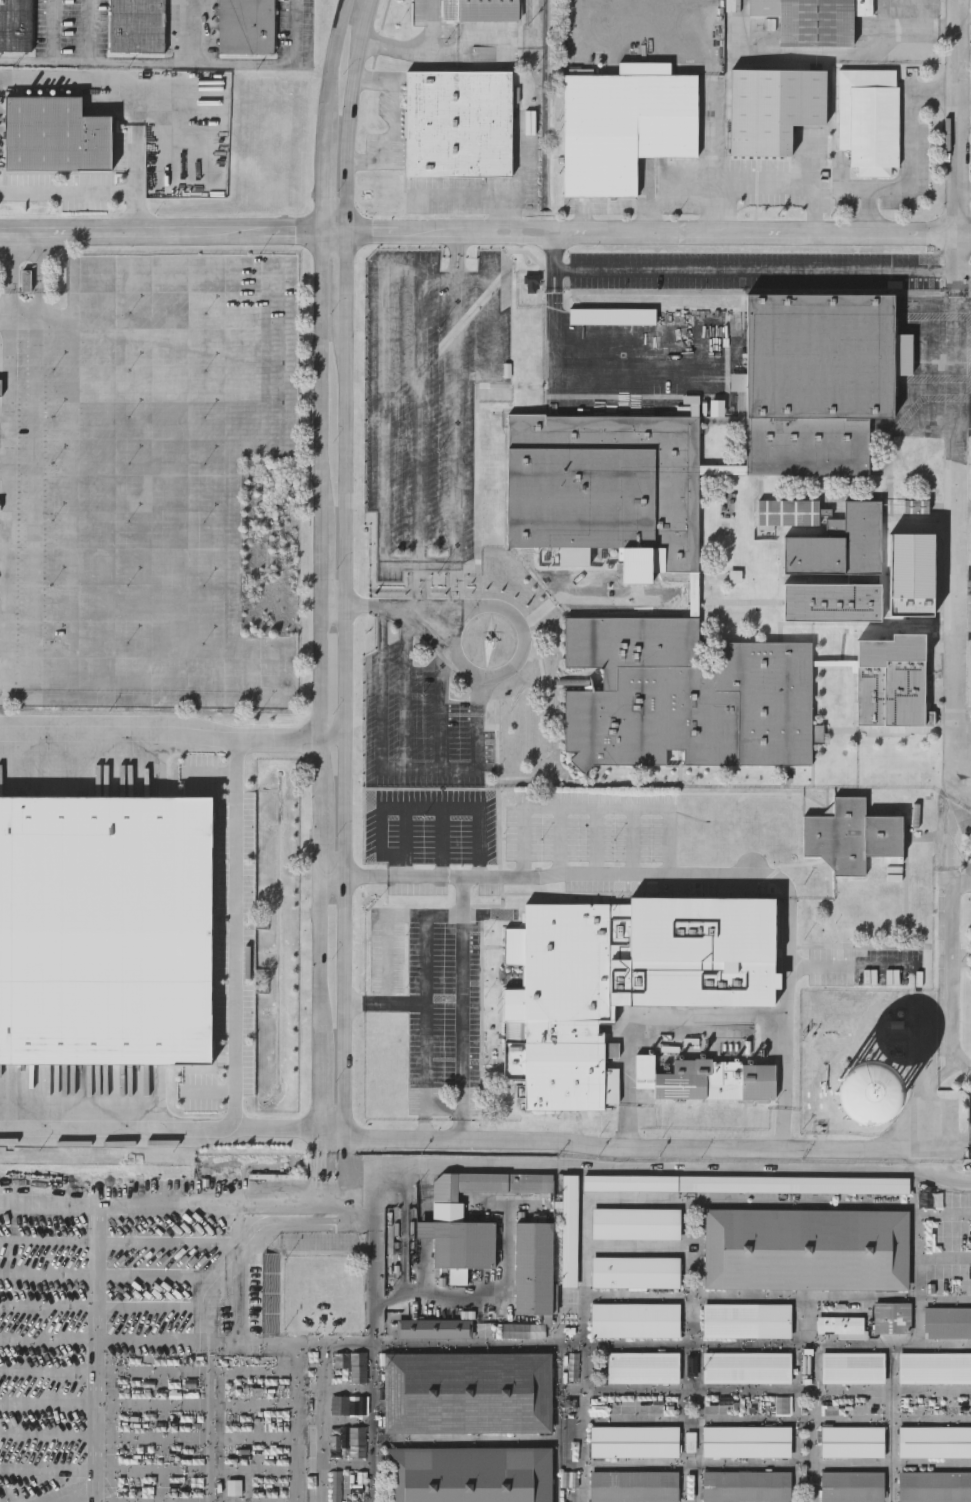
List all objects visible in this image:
building: (480, 9)
road: (882, 14)
building: (813, 19)
building: (15, 25)
building: (137, 25)
building: (245, 25)
road: (431, 26)
road: (189, 30)
road: (922, 34)
building: (73, 43)
road: (390, 48)
road: (24, 57)
road: (69, 58)
road: (219, 61)
road: (966, 102)
building: (772, 108)
road: (962, 116)
building: (868, 117)
road: (392, 119)
building: (458, 122)
building: (624, 126)
building: (56, 132)
road: (912, 156)
road: (522, 163)
road: (773, 185)
road: (86, 192)
road: (485, 192)
road: (674, 192)
road: (485, 231)
road: (459, 255)
road: (200, 258)
road: (962, 261)
parking lot: (755, 271)
road: (763, 271)
road: (12, 276)
road: (40, 276)
road: (440, 279)
building: (534, 283)
building: (614, 317)
road: (12, 320)
road: (109, 321)
road: (494, 327)
building: (820, 357)
road: (566, 366)
building: (0, 384)
parking lot: (431, 403)
road: (385, 429)
building: (808, 447)
road: (724, 468)
building: (607, 483)
road: (7, 507)
road: (36, 507)
road: (72, 508)
road: (109, 508)
road: (146, 508)
building: (789, 514)
building: (840, 542)
road: (958, 584)
road: (460, 585)
road: (422, 586)
road: (695, 594)
building: (830, 600)
road: (399, 607)
road: (197, 608)
road: (240, 638)
road: (458, 653)
road: (835, 662)
building: (894, 680)
road: (409, 688)
road: (444, 688)
building: (684, 694)
road: (268, 696)
flagpole: (514, 697)
flagpole: (513, 703)
flagpole: (511, 710)
parking lot: (423, 713)
road: (172, 732)
road: (398, 769)
road: (501, 774)
road: (429, 809)
parking lot: (430, 826)
parking lot: (594, 827)
building: (851, 834)
road: (405, 840)
road: (443, 841)
road: (596, 871)
road: (357, 873)
road: (962, 878)
road: (463, 894)
road: (389, 921)
road: (236, 932)
building: (146, 953)
road: (853, 966)
parking lot: (869, 967)
road: (954, 969)
building: (620, 980)
parking lot: (435, 1000)
road: (789, 1001)
road: (404, 1002)
road: (426, 1011)
road: (464, 1011)
road: (668, 1022)
building: (9, 1056)
road: (484, 1059)
road: (962, 1067)
building: (703, 1078)
building: (865, 1093)
water tower: (865, 1093)
road: (446, 1109)
road: (630, 1127)
road: (166, 1129)
road: (787, 1130)
road: (333, 1132)
road: (950, 1145)
road: (630, 1148)
road: (650, 1167)
road: (942, 1175)
building: (744, 1183)
road: (354, 1194)
road: (597, 1196)
road: (317, 1200)
road: (117, 1207)
road: (943, 1211)
road: (298, 1223)
building: (635, 1223)
building: (453, 1229)
building: (568, 1230)
building: (805, 1249)
road: (943, 1256)
building: (531, 1268)
building: (634, 1272)
road: (915, 1277)
road: (750, 1295)
road: (693, 1298)
building: (891, 1317)
building: (633, 1320)
building: (745, 1320)
building: (947, 1321)
building: (839, 1324)
building: (433, 1328)
parking lot: (123, 1336)
road: (342, 1340)
road: (204, 1348)
road: (100, 1355)
building: (745, 1366)
building: (641, 1367)
building: (851, 1367)
building: (934, 1367)
building: (465, 1392)
road: (796, 1398)
road: (778, 1400)
building: (784, 1406)
road: (372, 1422)
building: (745, 1440)
building: (632, 1441)
building: (851, 1441)
building: (934, 1441)
building: (468, 1474)
building: (745, 1485)
building: (632, 1486)
building: (851, 1486)
building: (934, 1487)

